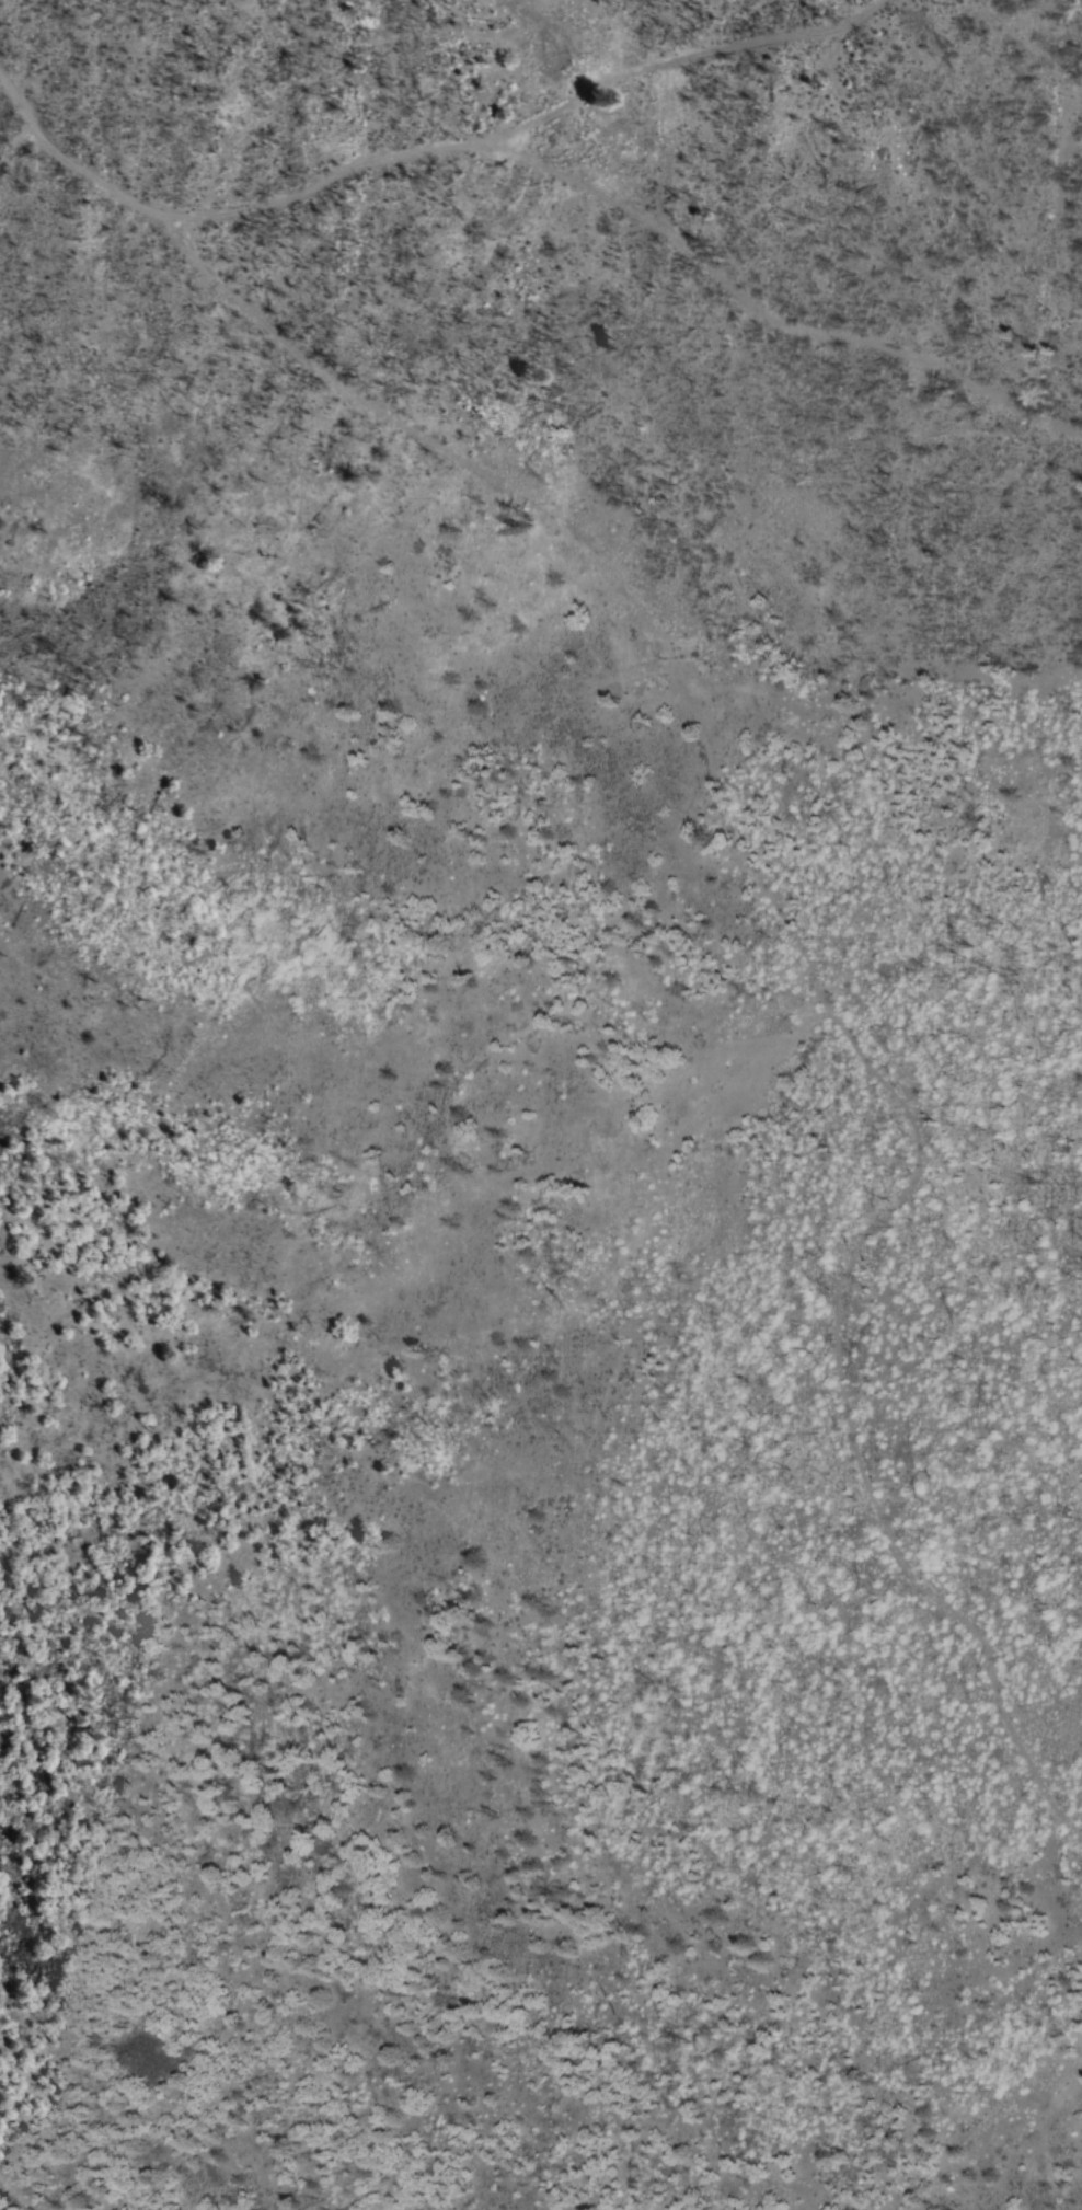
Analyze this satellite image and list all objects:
road: (682, 57)
road: (538, 161)

